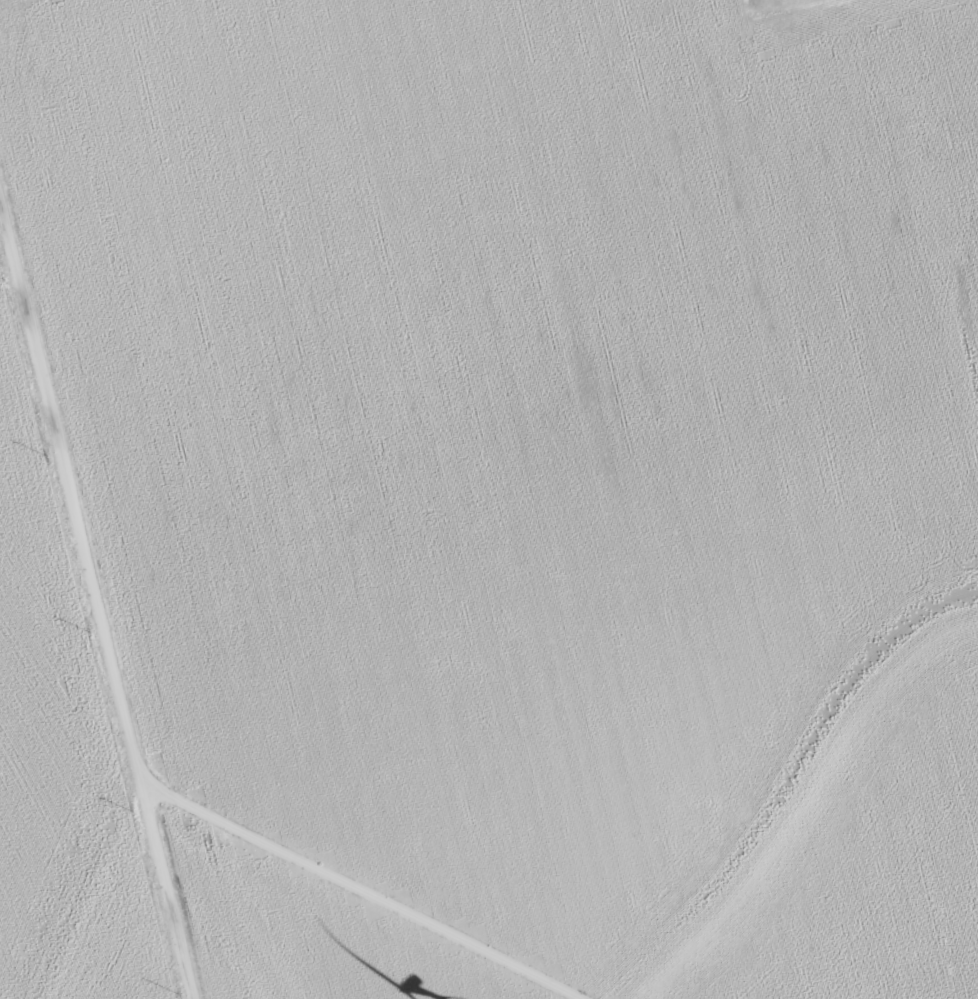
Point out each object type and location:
road: (98, 602)
road: (358, 892)

